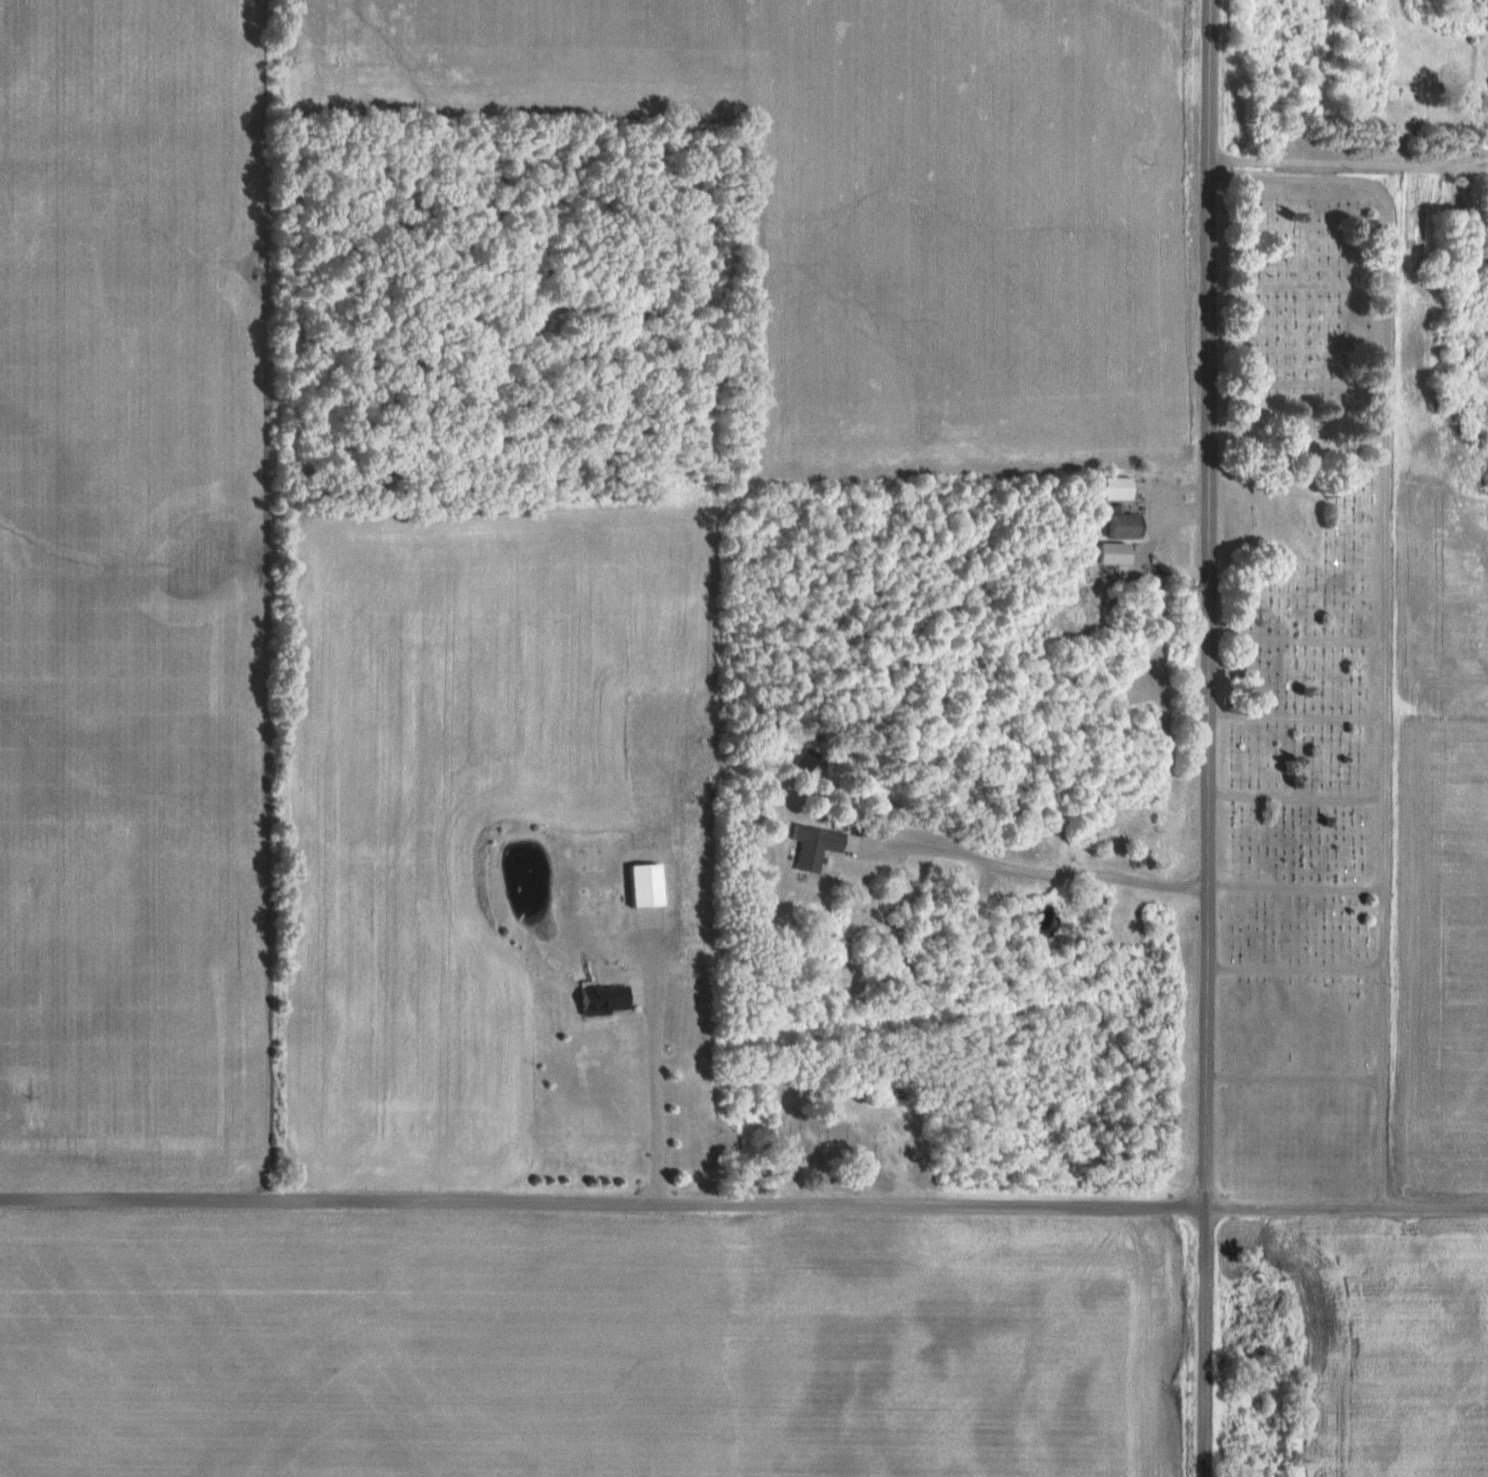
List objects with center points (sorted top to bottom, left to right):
road: (1348, 169)
building: (1117, 489)
building: (1123, 525)
road: (1372, 571)
road: (1208, 604)
park: (1307, 684)
building: (807, 761)
building: (815, 847)
road: (1039, 865)
building: (645, 886)
building: (605, 1000)
road: (656, 1078)
park: (853, 1134)
road: (743, 1205)
road: (1203, 1342)

